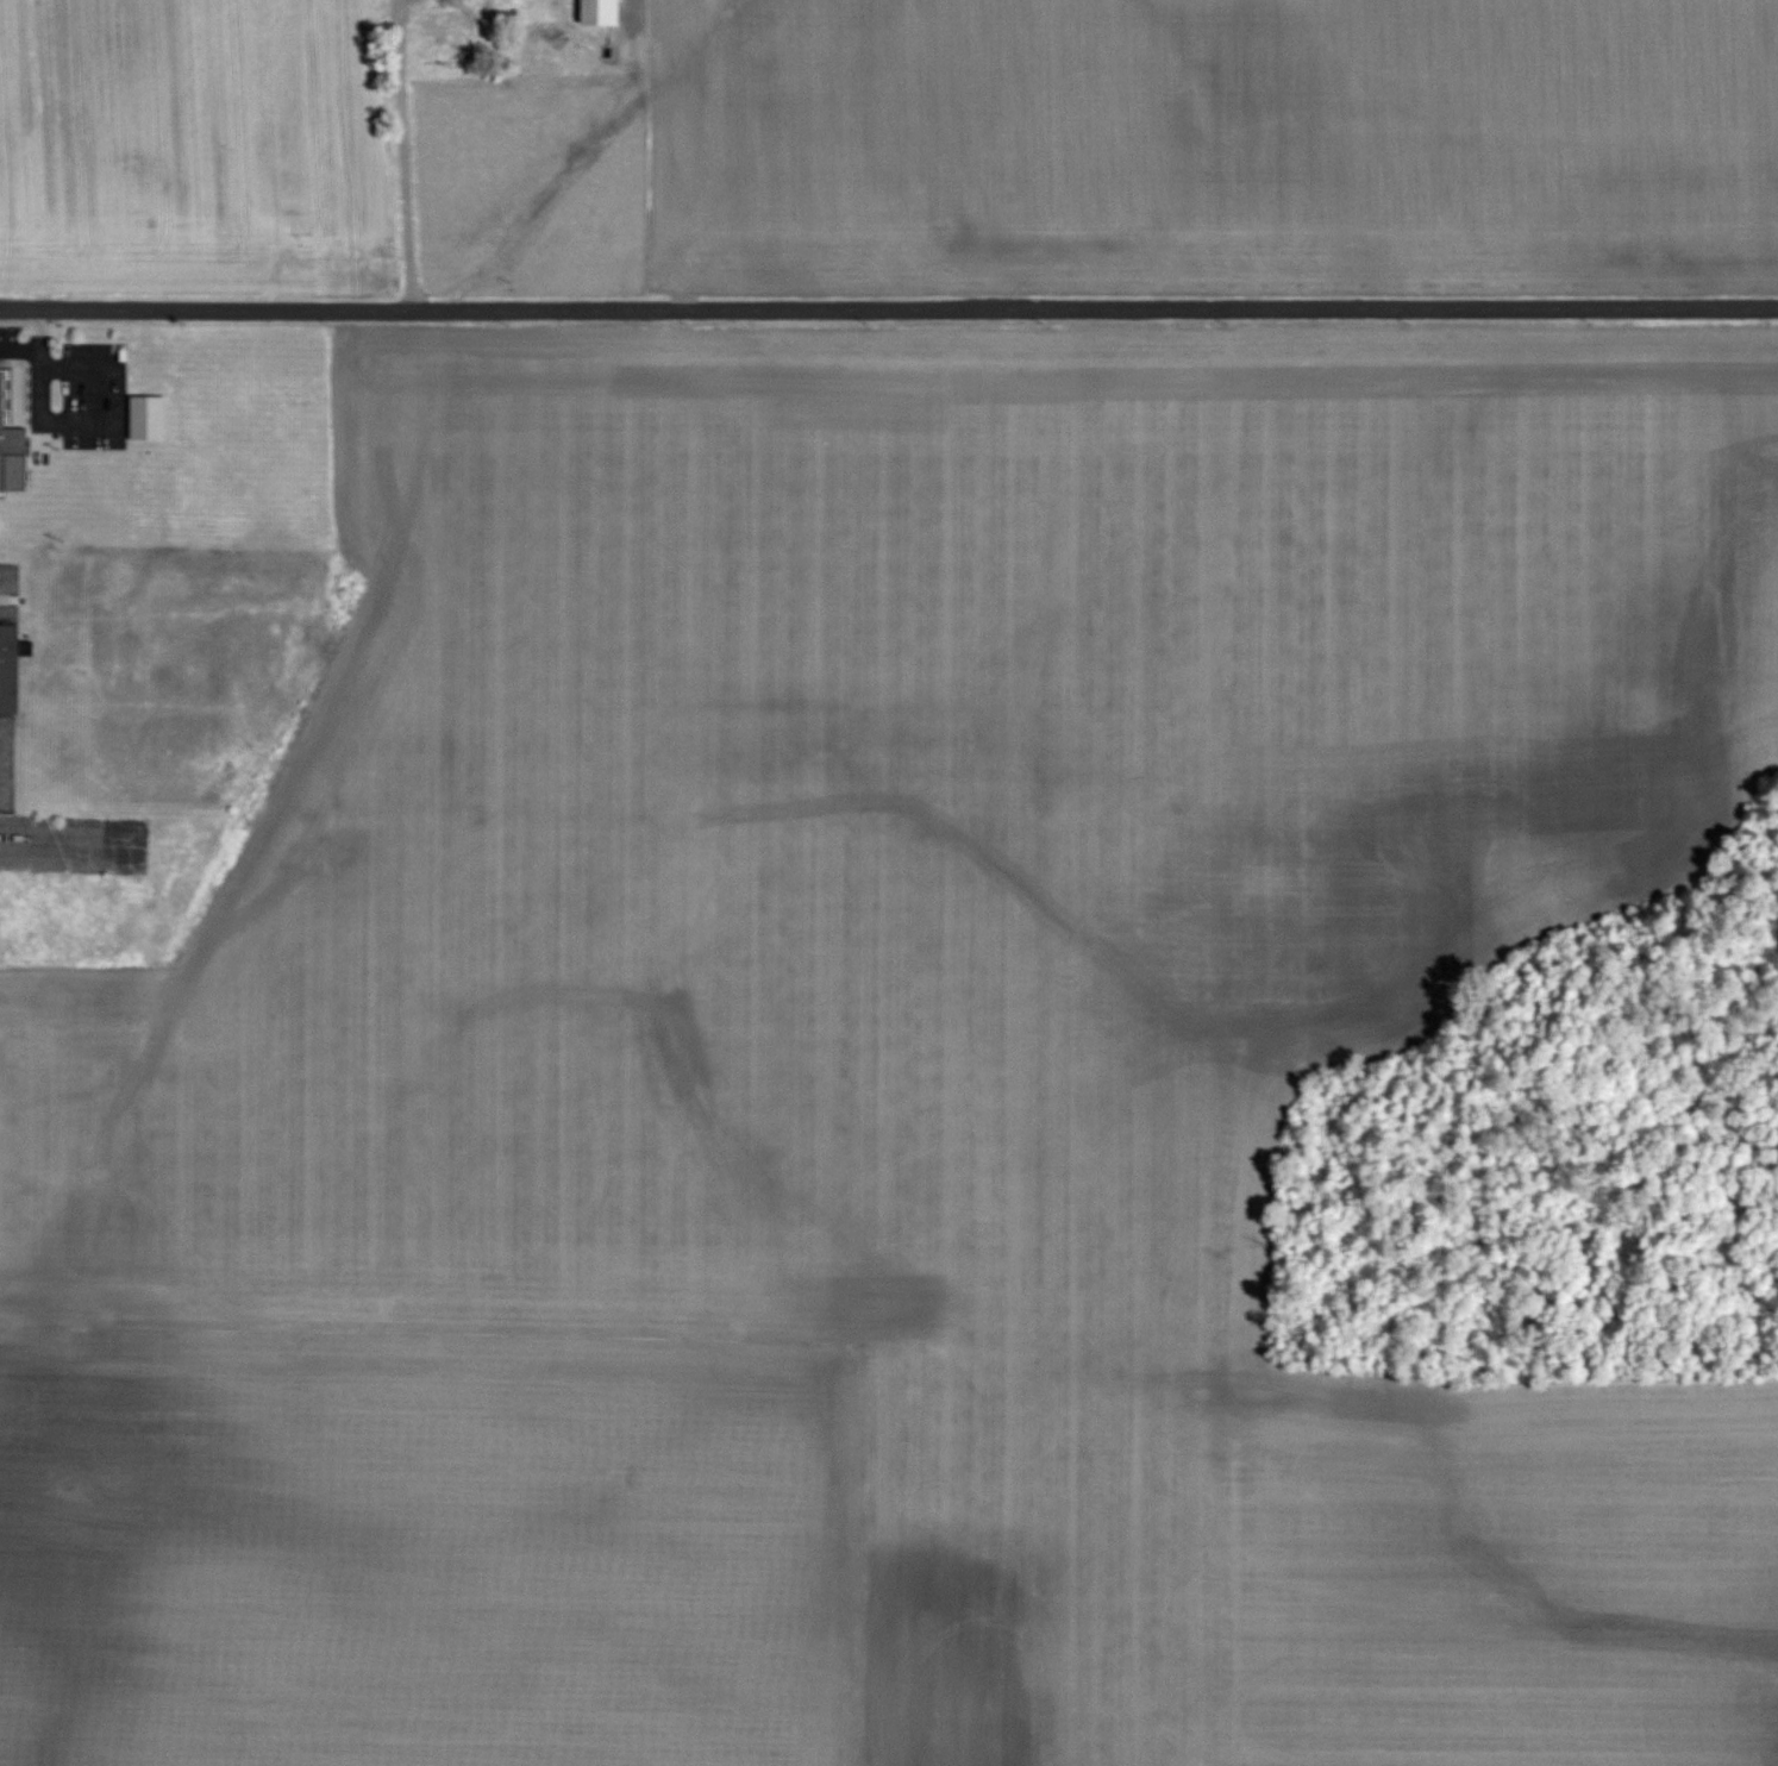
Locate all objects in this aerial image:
building: (605, 12)
building: (467, 15)
road: (397, 157)
road: (888, 314)
building: (151, 417)
building: (12, 446)
building: (11, 668)

